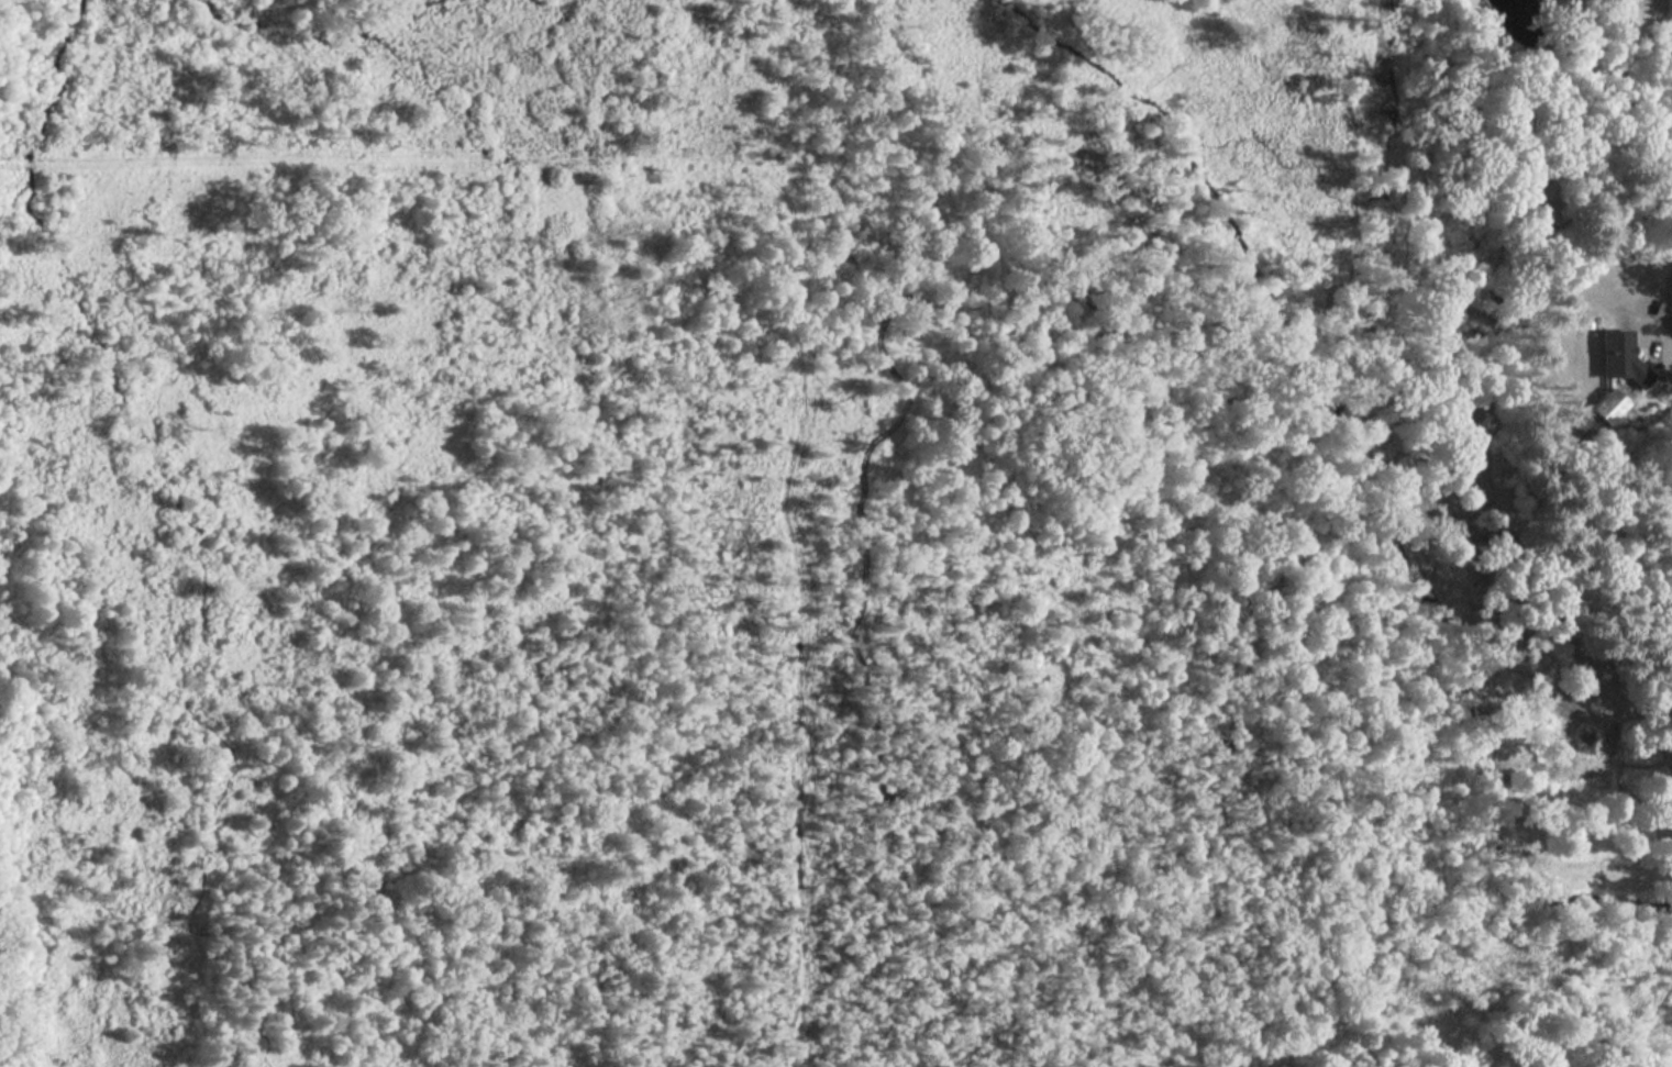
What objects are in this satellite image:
road: (1667, 292)
road: (1667, 324)
road: (1653, 349)
building: (1620, 357)
building: (1597, 416)

